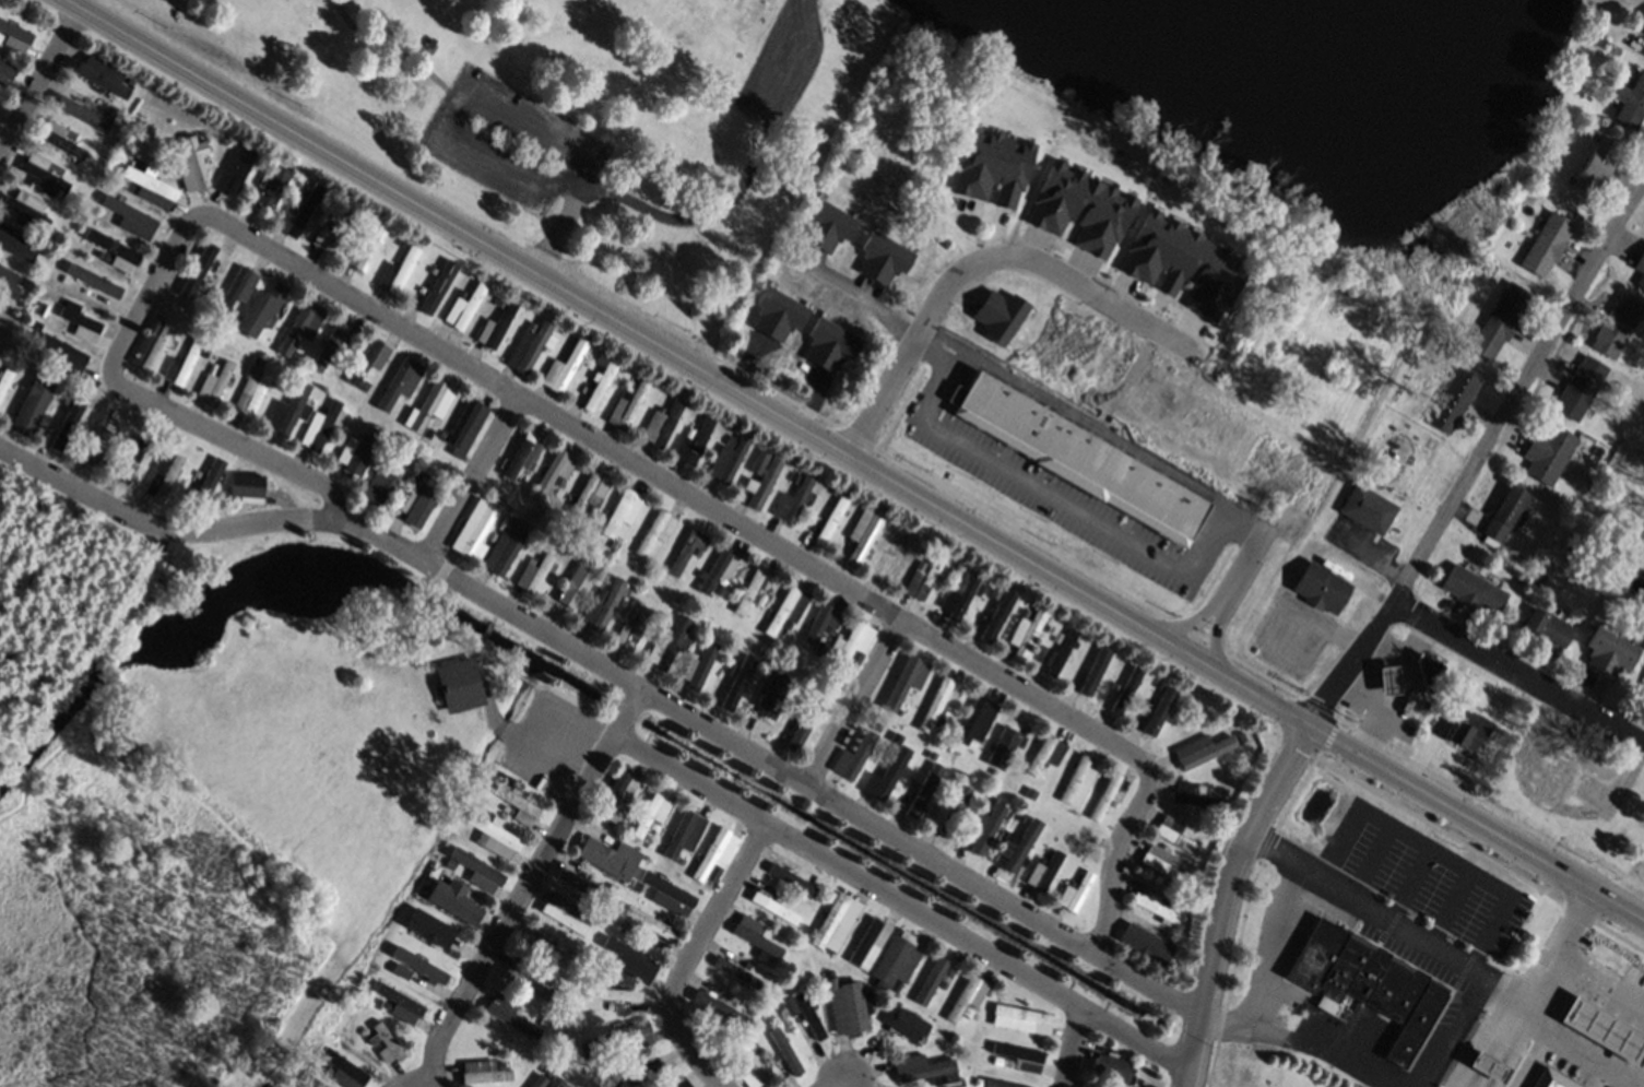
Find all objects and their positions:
building: (1643, 33)
building: (13, 35)
building: (0, 36)
building: (1599, 42)
building: (7, 71)
building: (102, 74)
road: (39, 81)
building: (415, 93)
building: (1631, 103)
building: (82, 114)
park: (563, 119)
building: (59, 139)
building: (189, 158)
building: (993, 163)
building: (1595, 166)
building: (234, 168)
building: (43, 173)
building: (272, 184)
building: (149, 185)
building: (301, 190)
building: (1081, 208)
building: (26, 209)
building: (128, 212)
building: (297, 212)
building: (332, 231)
building: (15, 243)
building: (1546, 244)
building: (113, 249)
building: (366, 249)
building: (835, 252)
road: (982, 257)
building: (1184, 261)
building: (204, 265)
building: (430, 268)
building: (1640, 270)
building: (398, 271)
building: (8, 281)
road: (839, 284)
building: (204, 285)
building: (96, 286)
building: (237, 288)
building: (429, 291)
building: (499, 303)
building: (465, 305)
building: (260, 309)
building: (233, 311)
building: (1500, 320)
building: (79, 321)
building: (35, 323)
building: (58, 323)
building: (1617, 324)
building: (496, 326)
building: (301, 327)
building: (794, 330)
building: (151, 343)
building: (335, 343)
building: (528, 345)
building: (63, 353)
building: (366, 362)
road: (685, 362)
building: (180, 364)
building: (563, 367)
building: (5, 377)
building: (601, 379)
building: (214, 381)
building: (402, 382)
building: (1607, 385)
building: (251, 387)
building: (1580, 387)
building: (25, 388)
building: (1451, 400)
building: (627, 402)
building: (433, 403)
building: (29, 409)
building: (289, 410)
building: (62, 421)
road: (563, 423)
building: (661, 423)
building: (322, 425)
building: (466, 426)
building: (371, 432)
building: (130, 434)
building: (96, 436)
building: (693, 440)
road: (1476, 451)
building: (1548, 453)
building: (360, 454)
building: (522, 454)
building: (1080, 457)
building: (127, 458)
building: (728, 458)
building: (759, 462)
building: (162, 473)
building: (553, 473)
building: (795, 476)
road: (472, 480)
building: (382, 481)
building: (199, 484)
building: (762, 484)
building: (244, 486)
building: (590, 493)
road: (1041, 496)
building: (418, 497)
building: (792, 499)
building: (1368, 509)
building: (622, 511)
building: (1502, 516)
building: (830, 519)
road: (208, 529)
building: (474, 530)
building: (655, 531)
building: (863, 532)
building: (614, 545)
building: (1572, 545)
building: (505, 547)
building: (688, 551)
building: (892, 559)
building: (646, 565)
building: (920, 565)
road: (1238, 568)
building: (533, 572)
building: (718, 572)
building: (963, 574)
building: (147, 577)
building: (923, 578)
building: (576, 586)
building: (1320, 587)
building: (674, 589)
building: (749, 590)
building: (1471, 590)
building: (958, 598)
building: (684, 599)
building: (760, 599)
building: (601, 605)
road: (1217, 607)
building: (788, 610)
building: (630, 614)
building: (990, 618)
building: (824, 623)
building: (1547, 626)
building: (631, 629)
building: (1026, 634)
building: (670, 642)
building: (851, 646)
road: (1381, 648)
building: (818, 651)
building: (1608, 651)
building: (1056, 652)
building: (698, 665)
building: (1426, 670)
building: (1095, 672)
road: (1514, 673)
building: (908, 674)
building: (1387, 680)
building: (732, 682)
building: (1642, 684)
building: (457, 685)
building: (776, 689)
road: (1401, 690)
building: (1115, 694)
road: (1358, 696)
road: (854, 704)
building: (938, 705)
building: (1159, 711)
building: (973, 722)
building: (796, 726)
building: (913, 729)
building: (1469, 731)
building: (1240, 737)
building: (1002, 746)
building: (1201, 751)
building: (1046, 754)
building: (931, 755)
building: (853, 757)
building: (994, 771)
building: (886, 775)
building: (1077, 781)
building: (1550, 781)
road: (812, 790)
building: (924, 790)
building: (1222, 791)
building: (1030, 792)
building: (1192, 794)
building: (614, 796)
building: (1104, 796)
building: (517, 805)
building: (1113, 806)
building: (950, 808)
building: (651, 812)
road: (1472, 820)
building: (984, 826)
building: (653, 827)
building: (685, 834)
building: (1176, 836)
building: (493, 837)
building: (1022, 844)
building: (714, 855)
building: (608, 856)
building: (1041, 856)
building: (1167, 864)
building: (474, 869)
building: (1044, 870)
building: (582, 879)
building: (791, 879)
road: (530, 886)
building: (636, 887)
building: (1074, 890)
building: (667, 894)
building: (779, 897)
road: (1227, 897)
building: (456, 902)
road: (902, 905)
building: (1155, 906)
building: (773, 908)
building: (568, 913)
building: (614, 920)
building: (650, 922)
building: (836, 922)
building: (424, 928)
building: (754, 933)
road: (1558, 940)
building: (868, 942)
building: (1146, 944)
building: (546, 952)
building: (761, 954)
road: (690, 955)
road: (1457, 956)
building: (629, 960)
building: (895, 961)
building: (416, 965)
building: (736, 972)
road: (1269, 973)
road: (1598, 976)
building: (524, 979)
building: (931, 981)
building: (943, 984)
building: (1365, 985)
building: (613, 994)
building: (966, 996)
building: (735, 999)
building: (398, 1003)
building: (847, 1005)
building: (786, 1006)
building: (718, 1008)
building: (767, 1012)
building: (967, 1012)
building: (807, 1013)
building: (509, 1015)
building: (1020, 1019)
building: (544, 1021)
building: (906, 1024)
road: (1451, 1029)
building: (628, 1035)
building: (385, 1042)
road: (1476, 1045)
building: (586, 1048)
road: (1073, 1048)
building: (785, 1050)
building: (778, 1052)
building: (1016, 1058)
building: (660, 1063)
road: (1343, 1064)
building: (1111, 1065)
building: (548, 1067)
building: (924, 1067)
building: (742, 1068)
building: (752, 1068)
building: (343, 1070)
building: (484, 1071)
building: (628, 1073)
building: (539, 1080)
building: (554, 1080)
building: (314, 1082)
road: (419, 1082)
building: (678, 1083)
road: (832, 1084)
building: (1002, 1084)
building: (1096, 1085)

